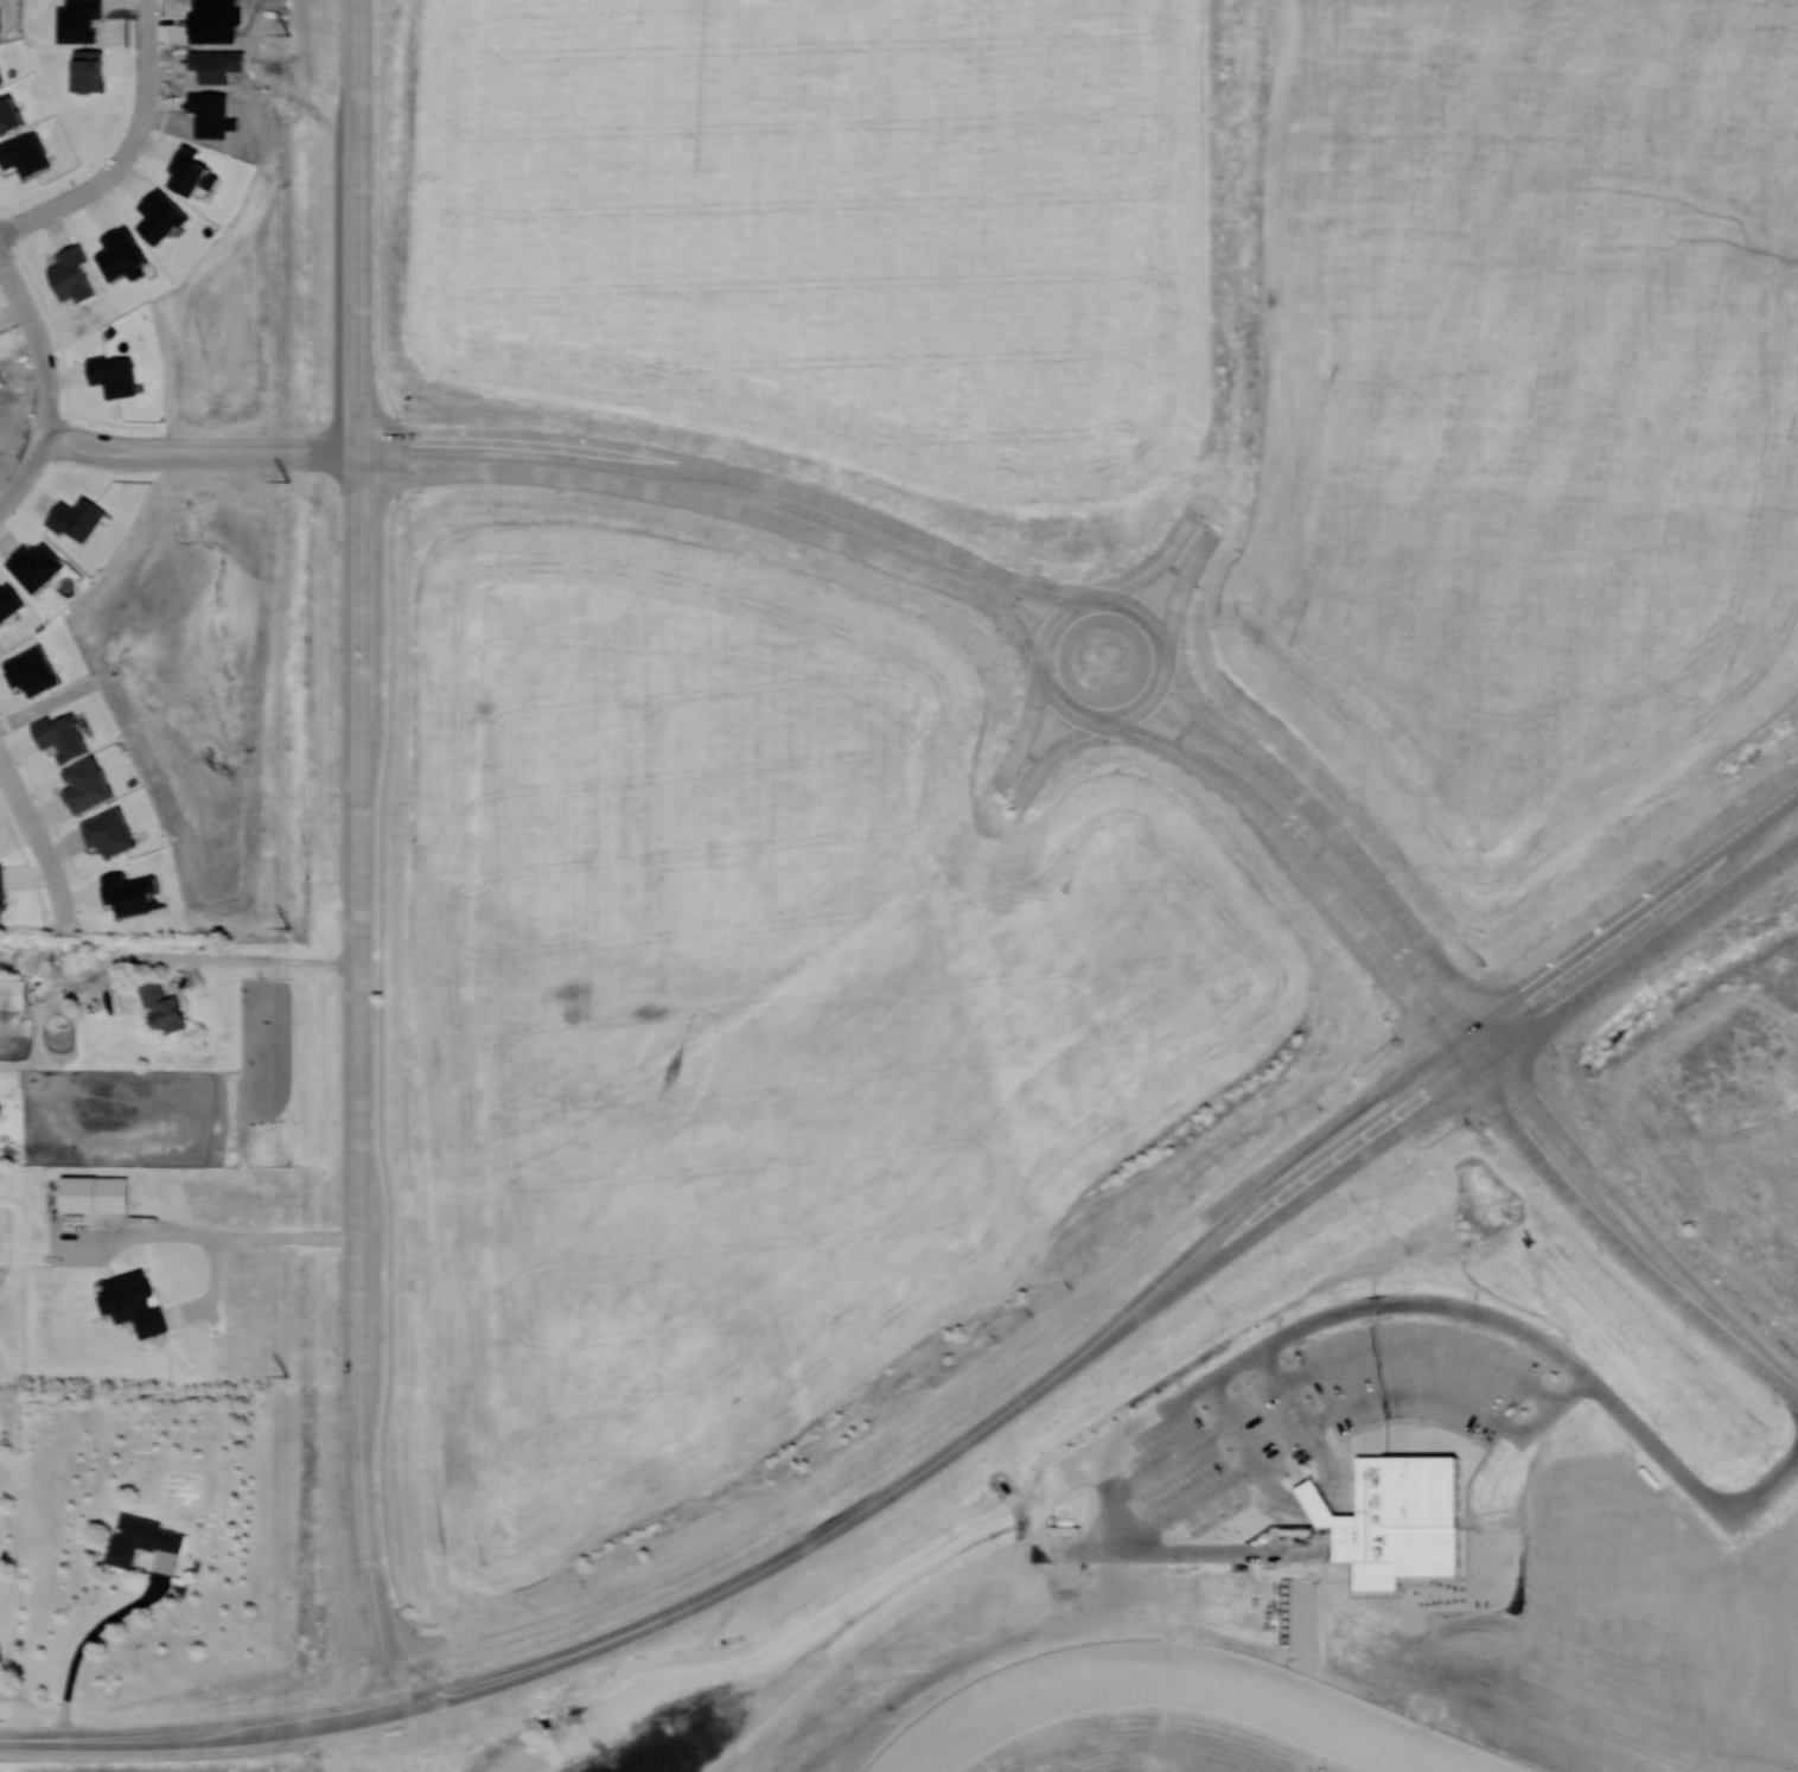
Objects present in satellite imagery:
power tower: (288, 34)
building: (88, 70)
road: (126, 149)
building: (191, 172)
building: (160, 216)
road: (356, 219)
building: (121, 254)
park: (278, 259)
road: (37, 337)
building: (113, 375)
road: (42, 433)
road: (104, 434)
road: (260, 440)
road: (356, 453)
road: (100, 457)
road: (259, 461)
road: (733, 473)
road: (23, 478)
power tower: (286, 479)
road: (722, 504)
building: (77, 517)
road: (1152, 563)
building: (36, 566)
road: (1180, 584)
building: (8, 601)
building: (31, 670)
park: (231, 701)
road: (355, 709)
road: (1072, 710)
road: (1024, 734)
building: (62, 737)
road: (1050, 754)
building: (87, 785)
road: (38, 840)
road: (1343, 844)
road: (1298, 858)
building: (129, 892)
power tower: (287, 926)
road: (206, 958)
building: (13, 994)
building: (161, 1007)
road: (1461, 1033)
road: (1473, 1073)
building: (95, 1193)
road: (1638, 1229)
road: (1603, 1232)
road: (237, 1239)
building: (133, 1302)
road: (1341, 1315)
road: (355, 1330)
road: (1427, 1345)
power tower: (283, 1371)
road: (1794, 1395)
road: (1416, 1397)
road: (1326, 1455)
road: (1172, 1462)
road: (1238, 1478)
road: (1275, 1492)
road: (1314, 1496)
building: (1402, 1524)
building: (140, 1538)
road: (791, 1551)
track: (1273, 1551)
road: (90, 1640)
road: (195, 1733)

